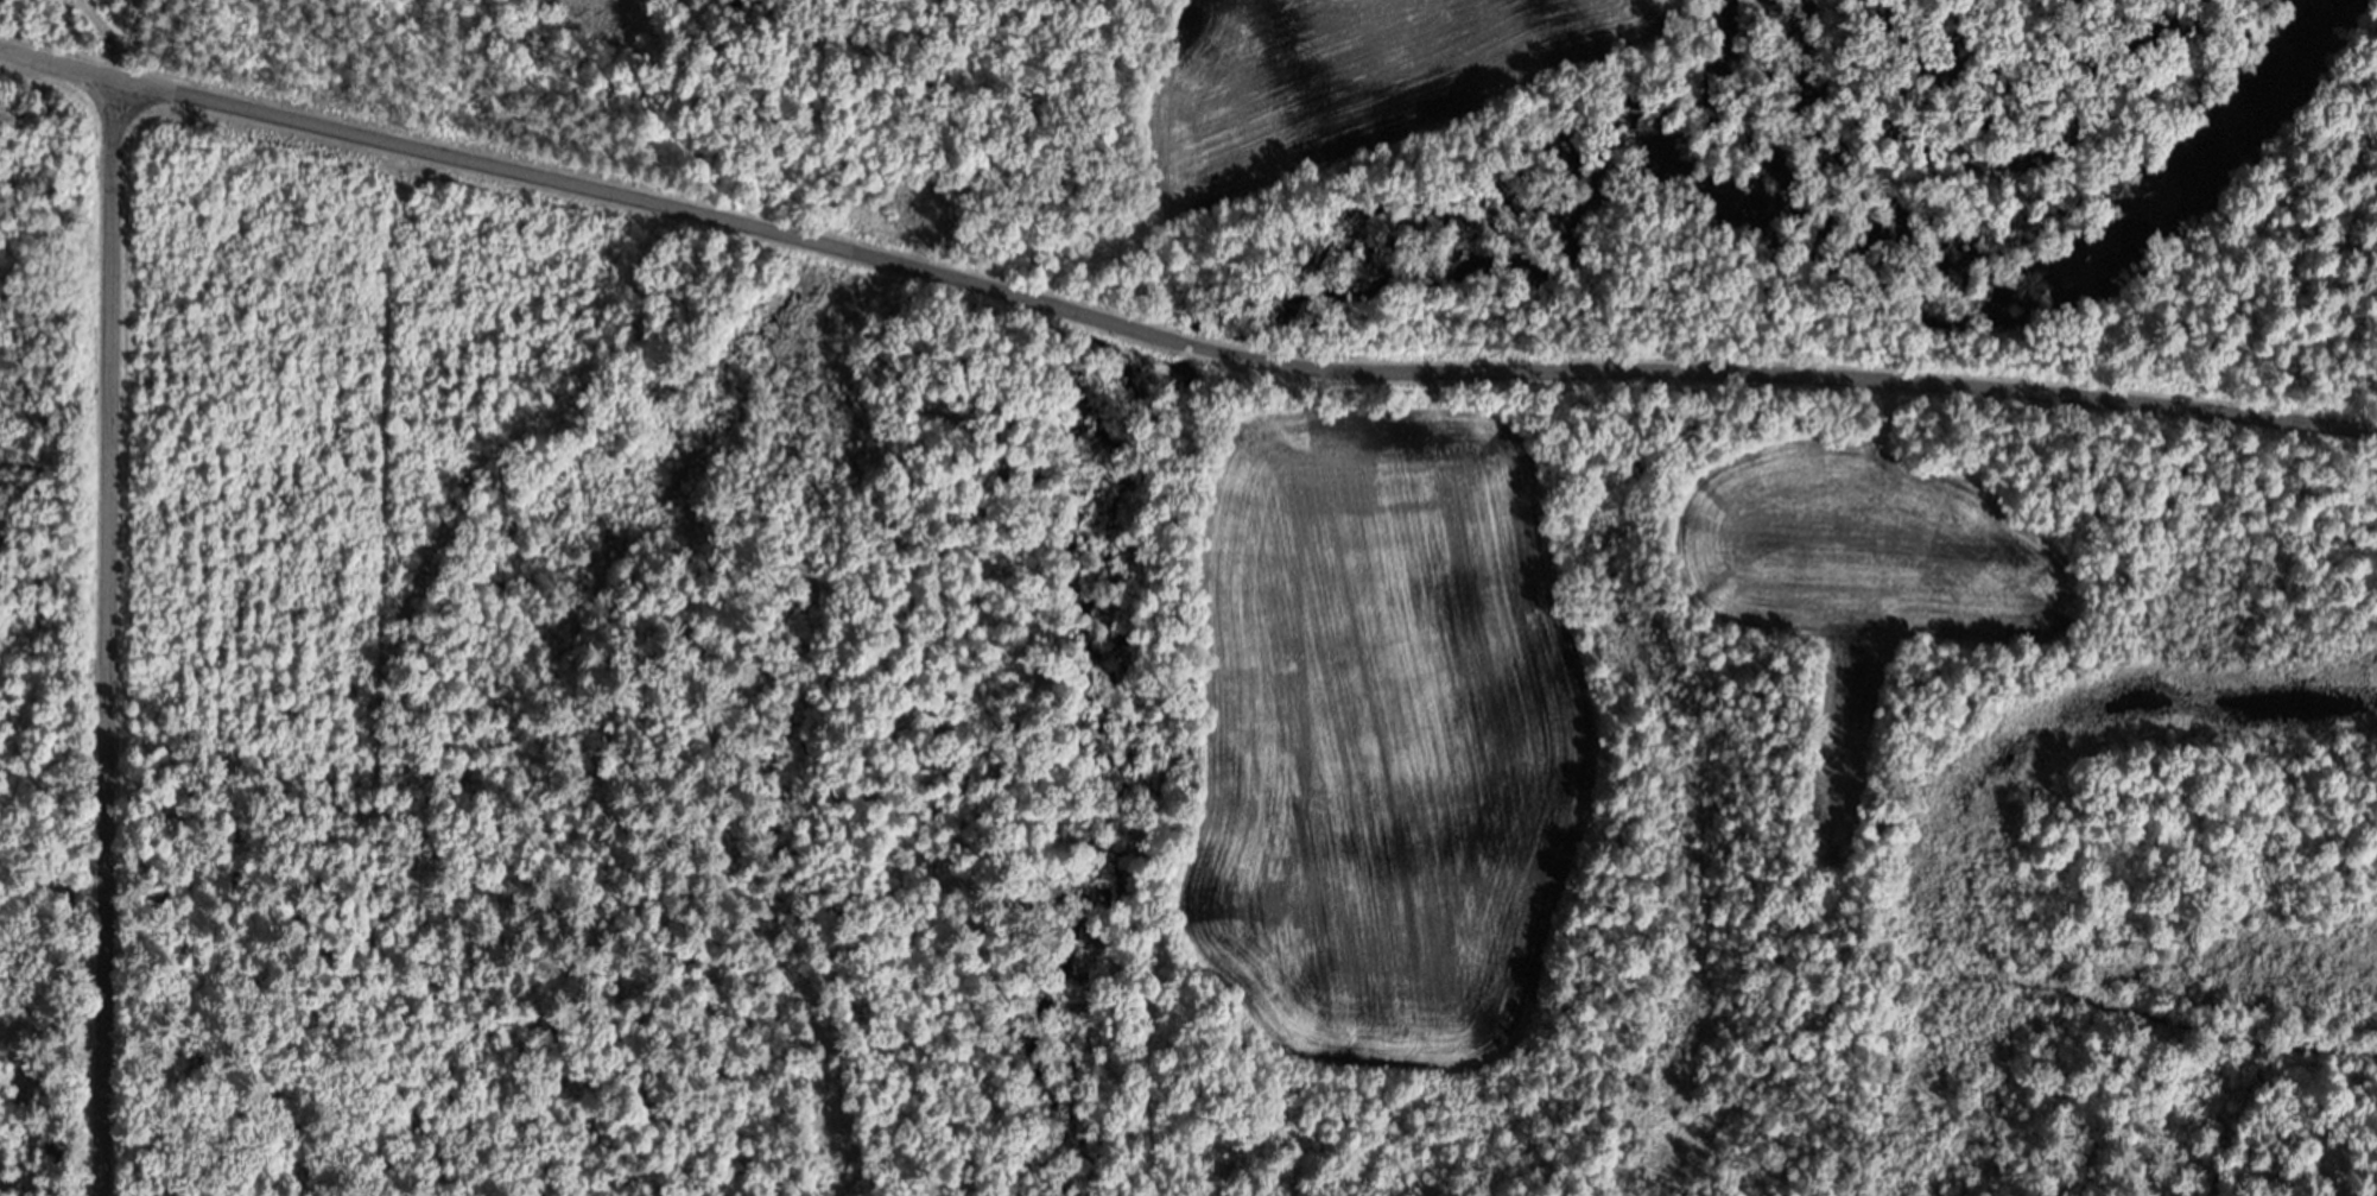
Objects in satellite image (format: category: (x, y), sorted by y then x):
road: (1173, 341)
road: (110, 638)

